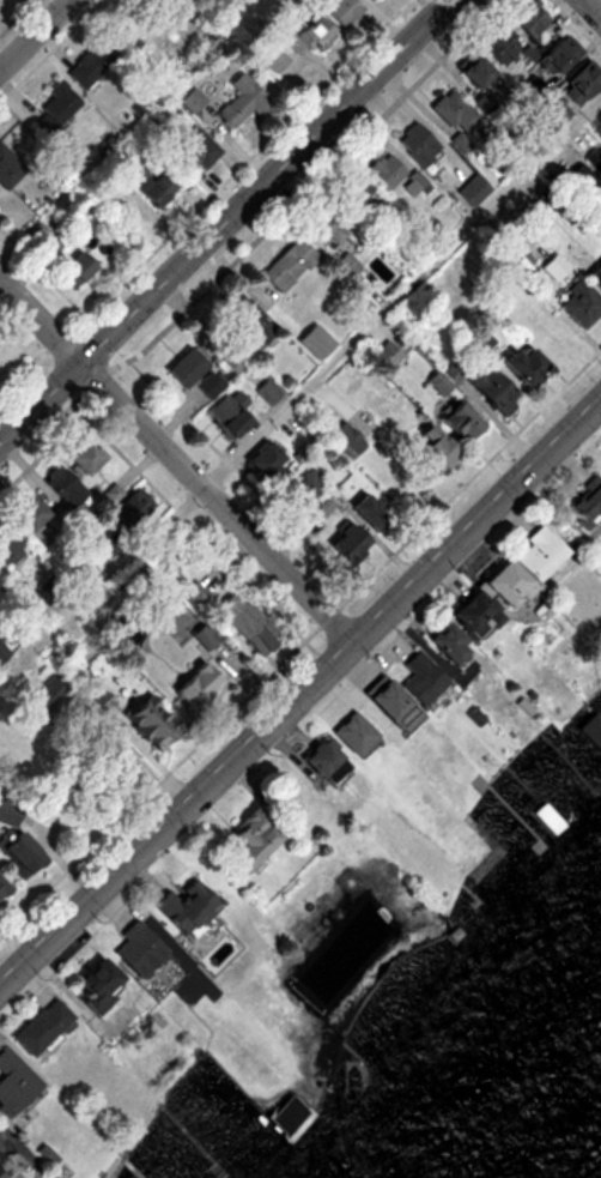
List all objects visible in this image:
road: (595, 6)
road: (29, 30)
road: (226, 219)
road: (244, 248)
road: (403, 291)
road: (175, 455)
road: (306, 683)

